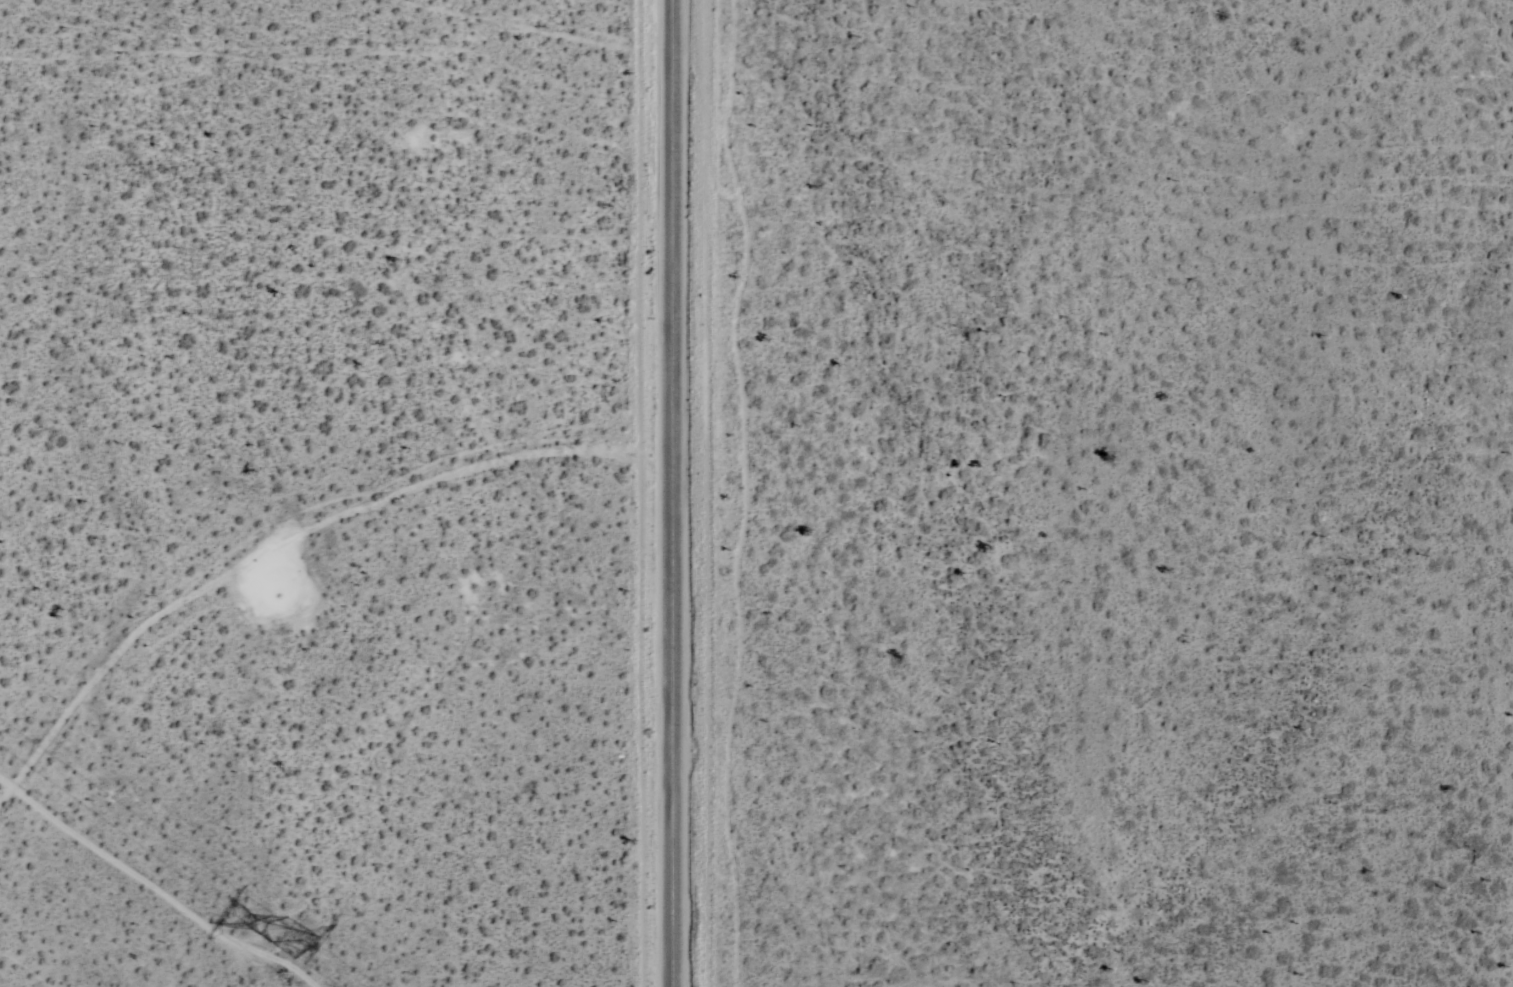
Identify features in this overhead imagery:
road: (677, 493)
power tower: (276, 934)

